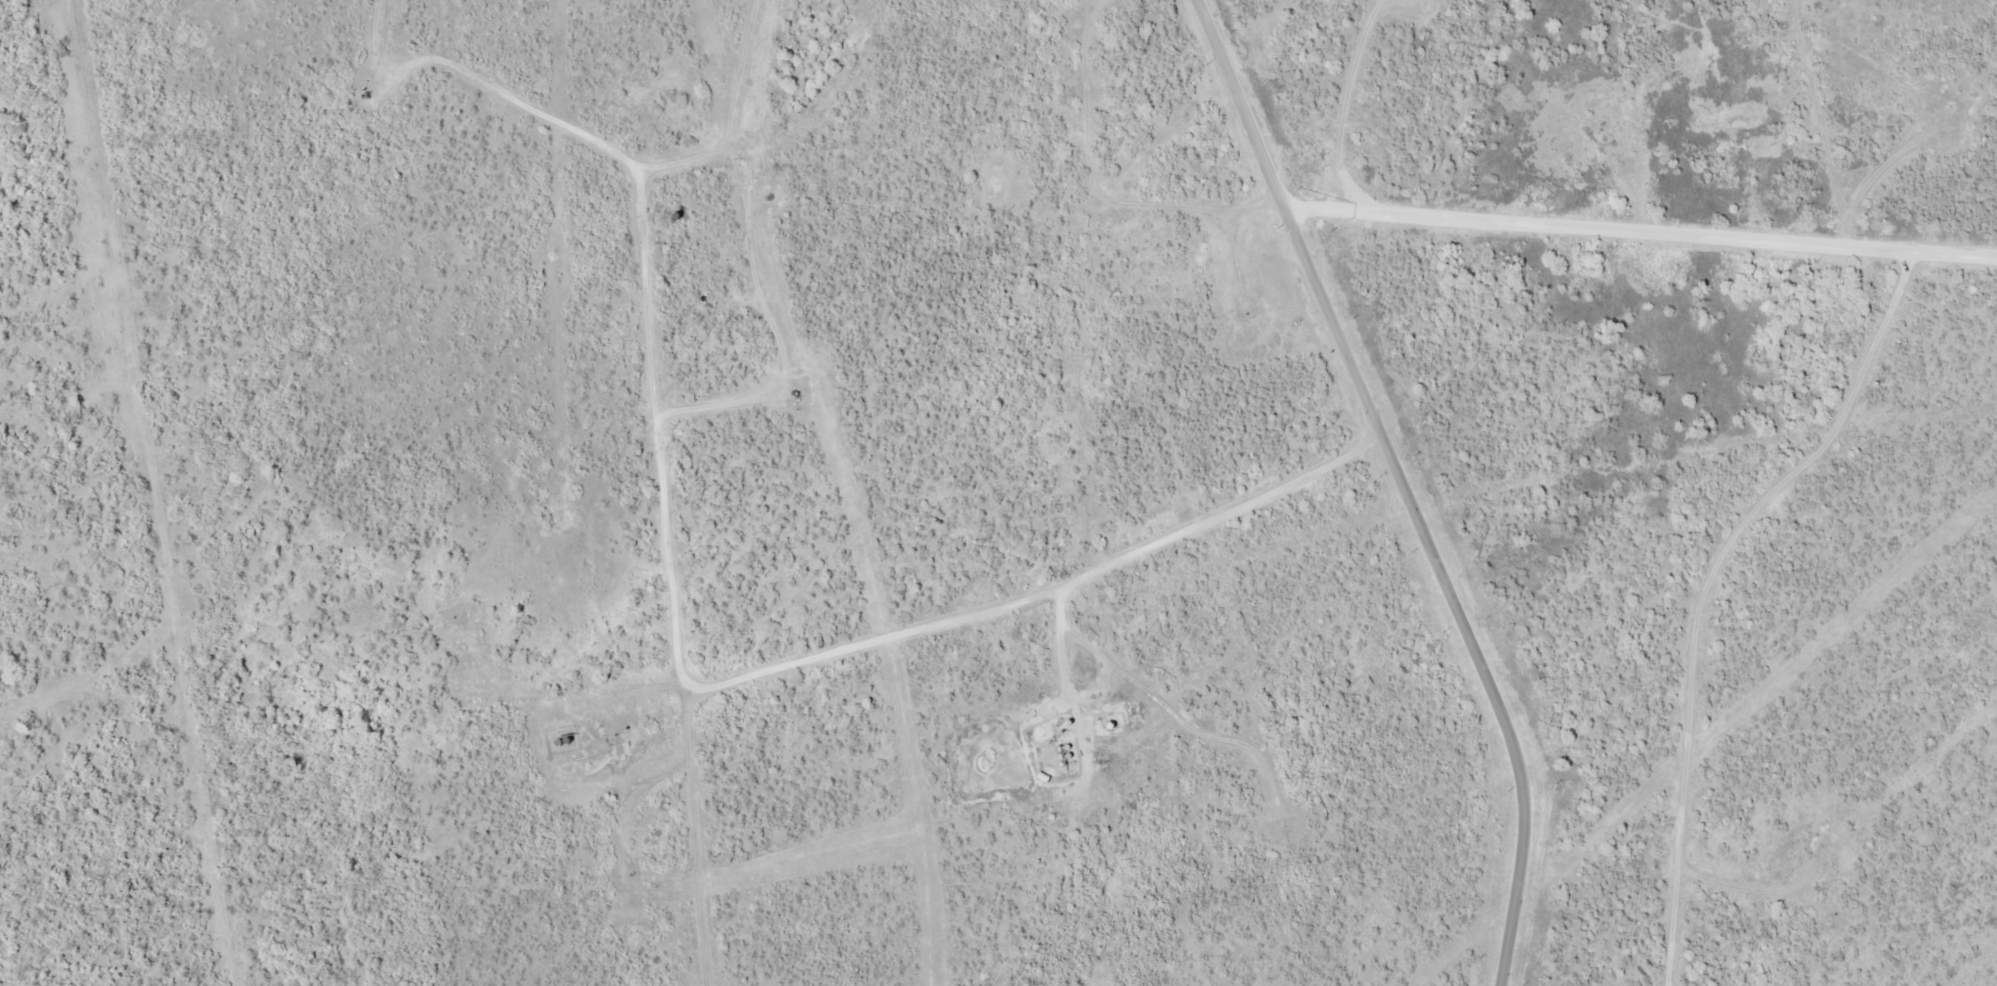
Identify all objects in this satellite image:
road: (1289, 218)
road: (1644, 230)
road: (656, 435)
road: (1691, 587)
road: (1046, 592)
road: (1499, 701)

